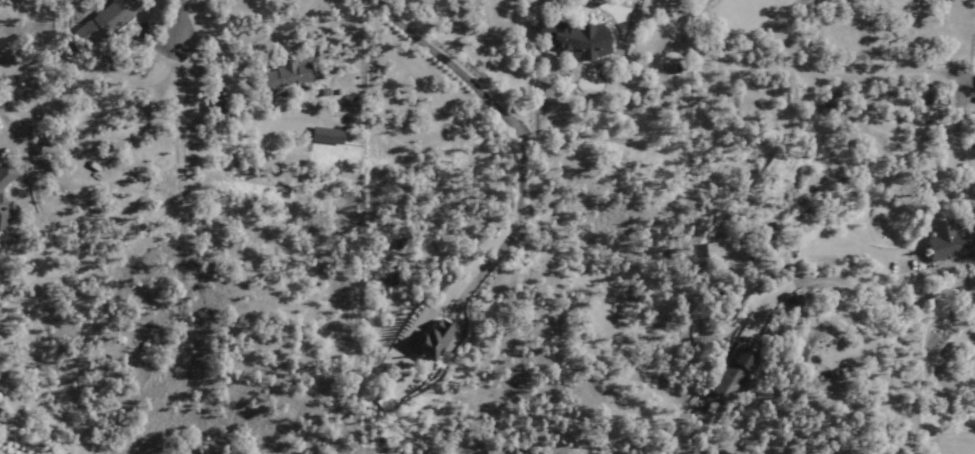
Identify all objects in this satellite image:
building: (96, 21)
building: (575, 39)
road: (176, 43)
building: (285, 75)
road: (78, 88)
building: (217, 110)
building: (4, 174)
building: (4, 211)
building: (941, 242)
building: (717, 249)
road: (887, 278)
building: (432, 338)
building: (731, 375)
building: (387, 402)

